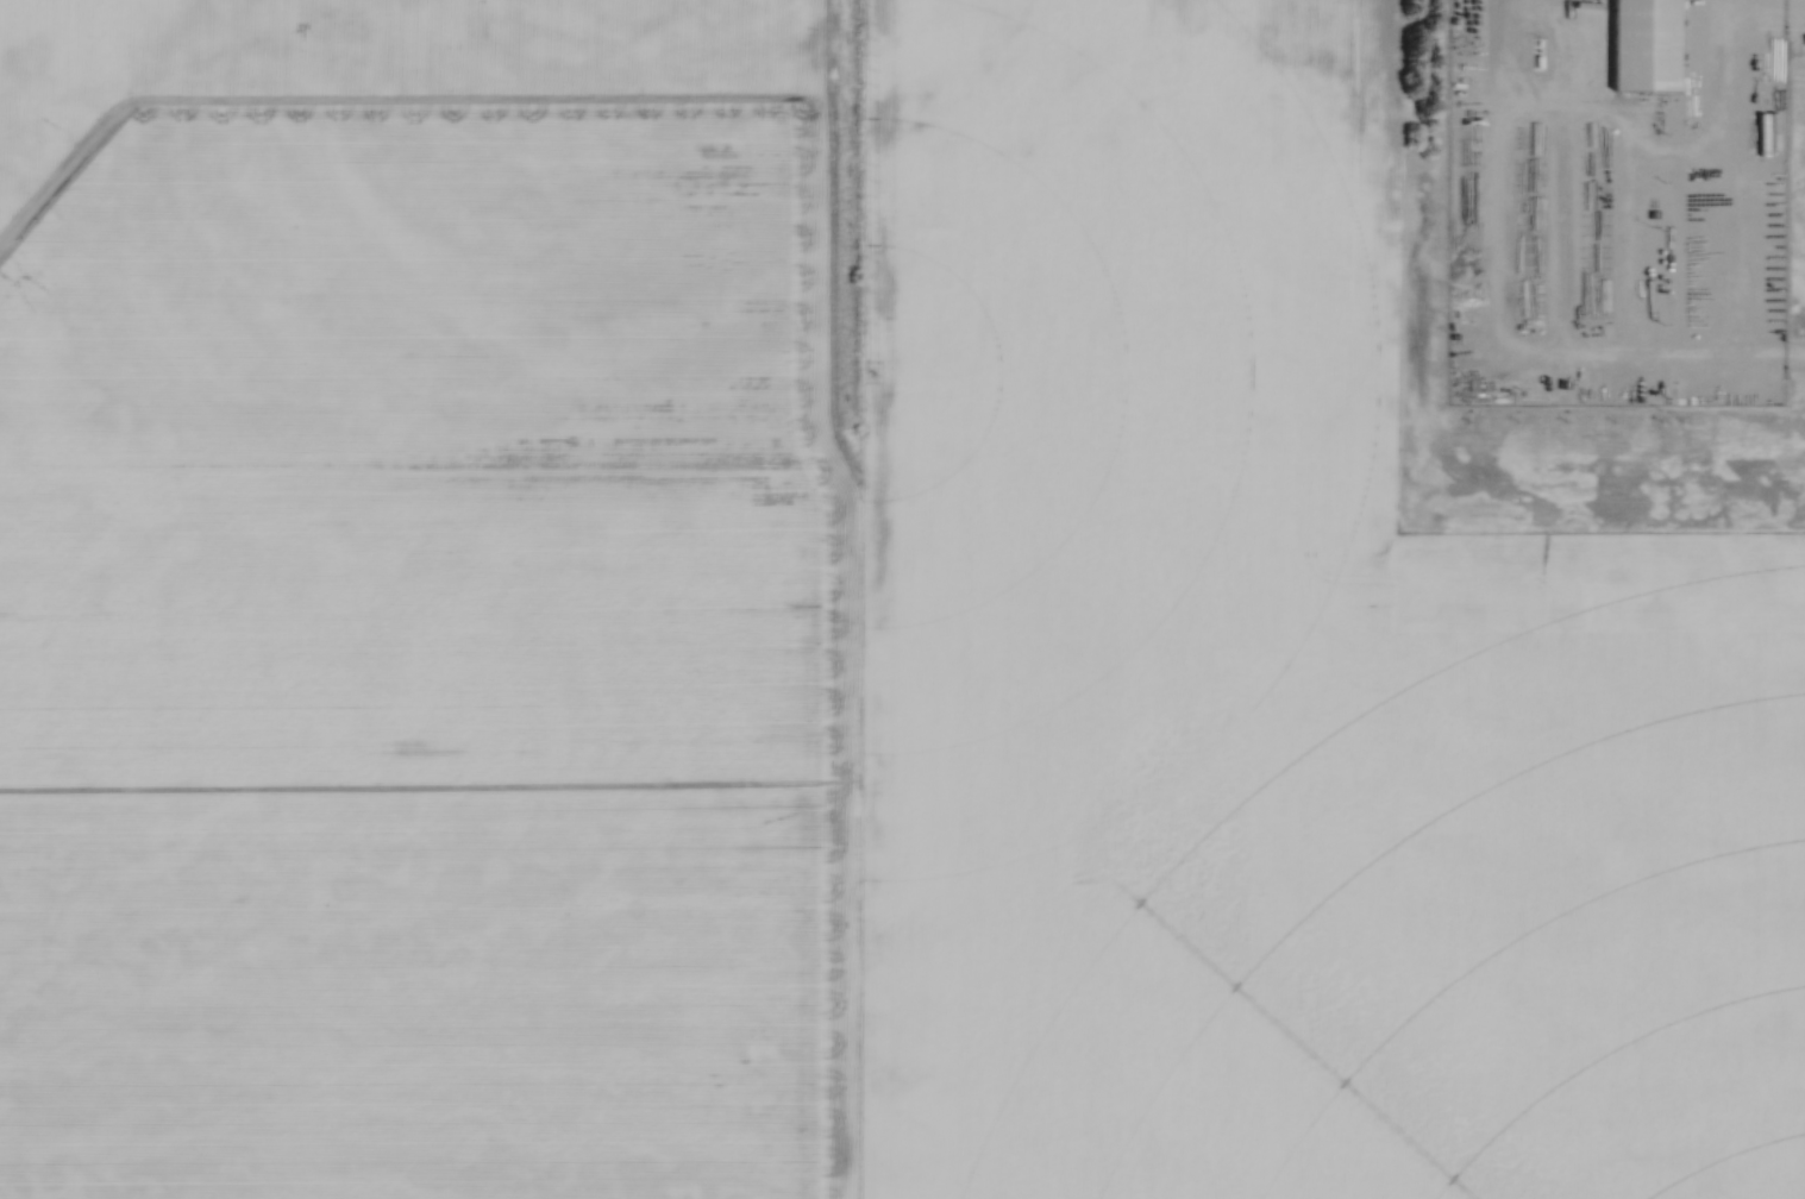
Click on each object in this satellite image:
road: (1772, 10)
building: (1648, 45)

